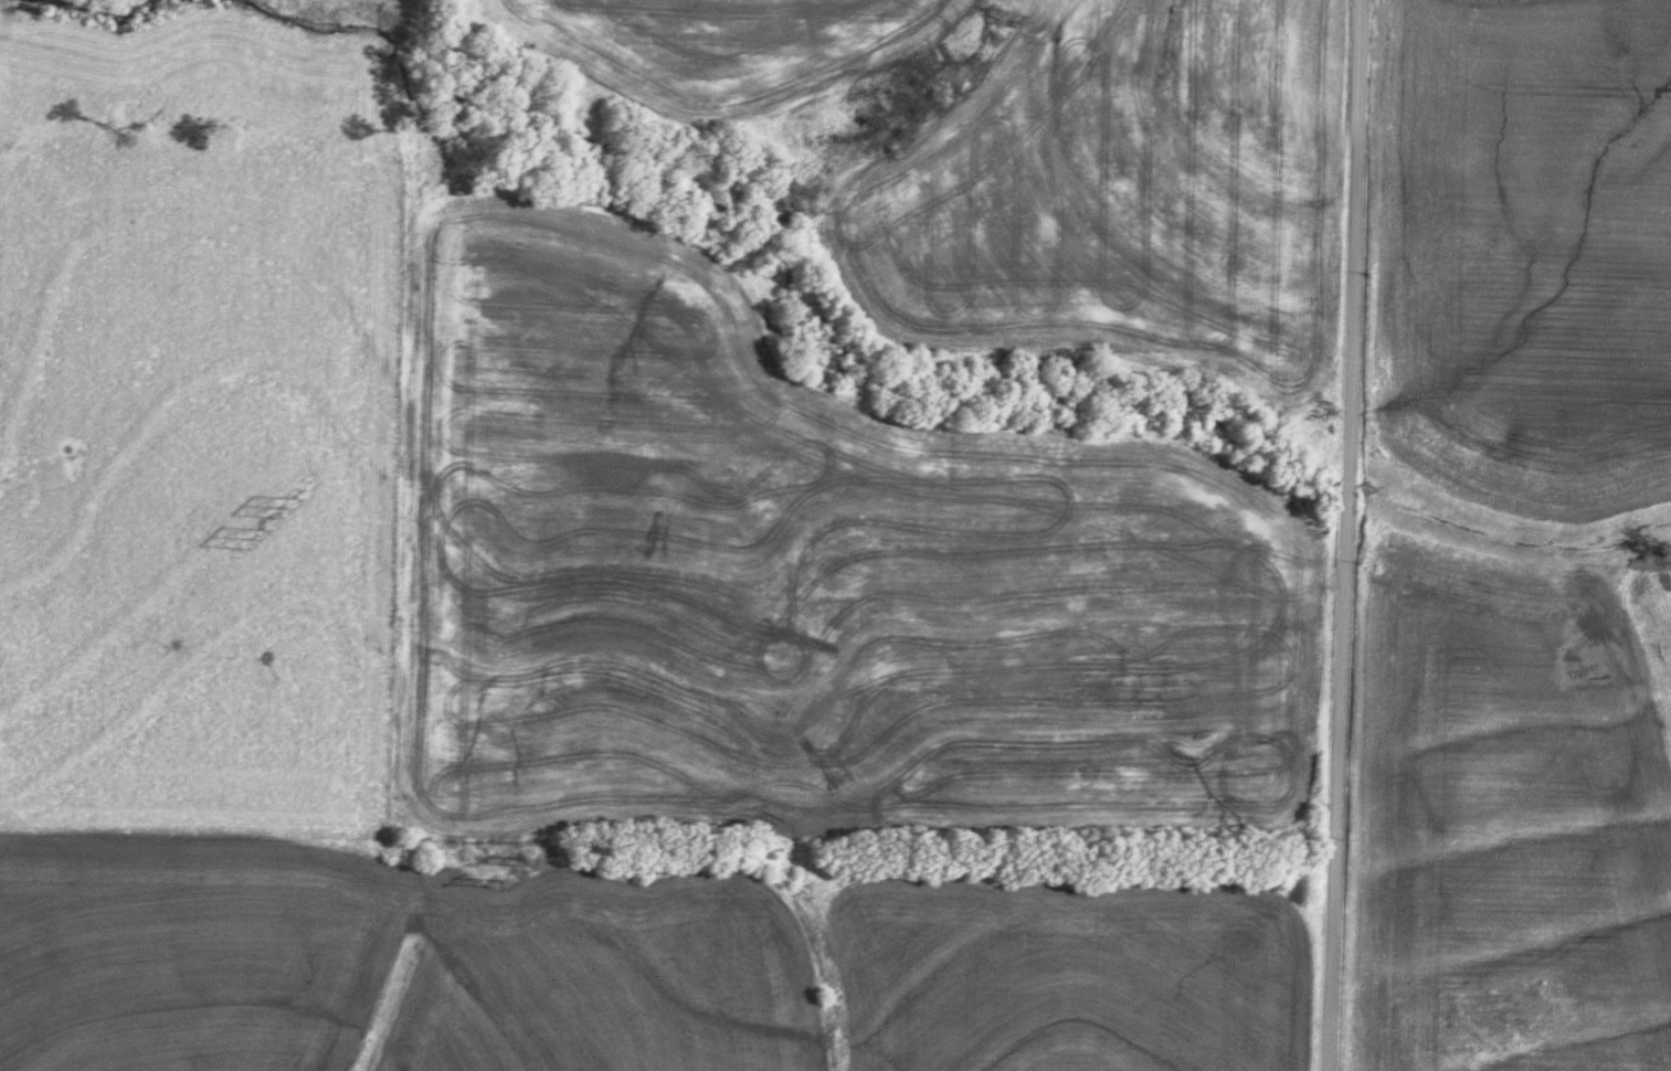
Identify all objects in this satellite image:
power tower: (284, 499)
road: (1345, 535)
power tower: (248, 540)
power tower: (529, 859)
power tower: (491, 878)

